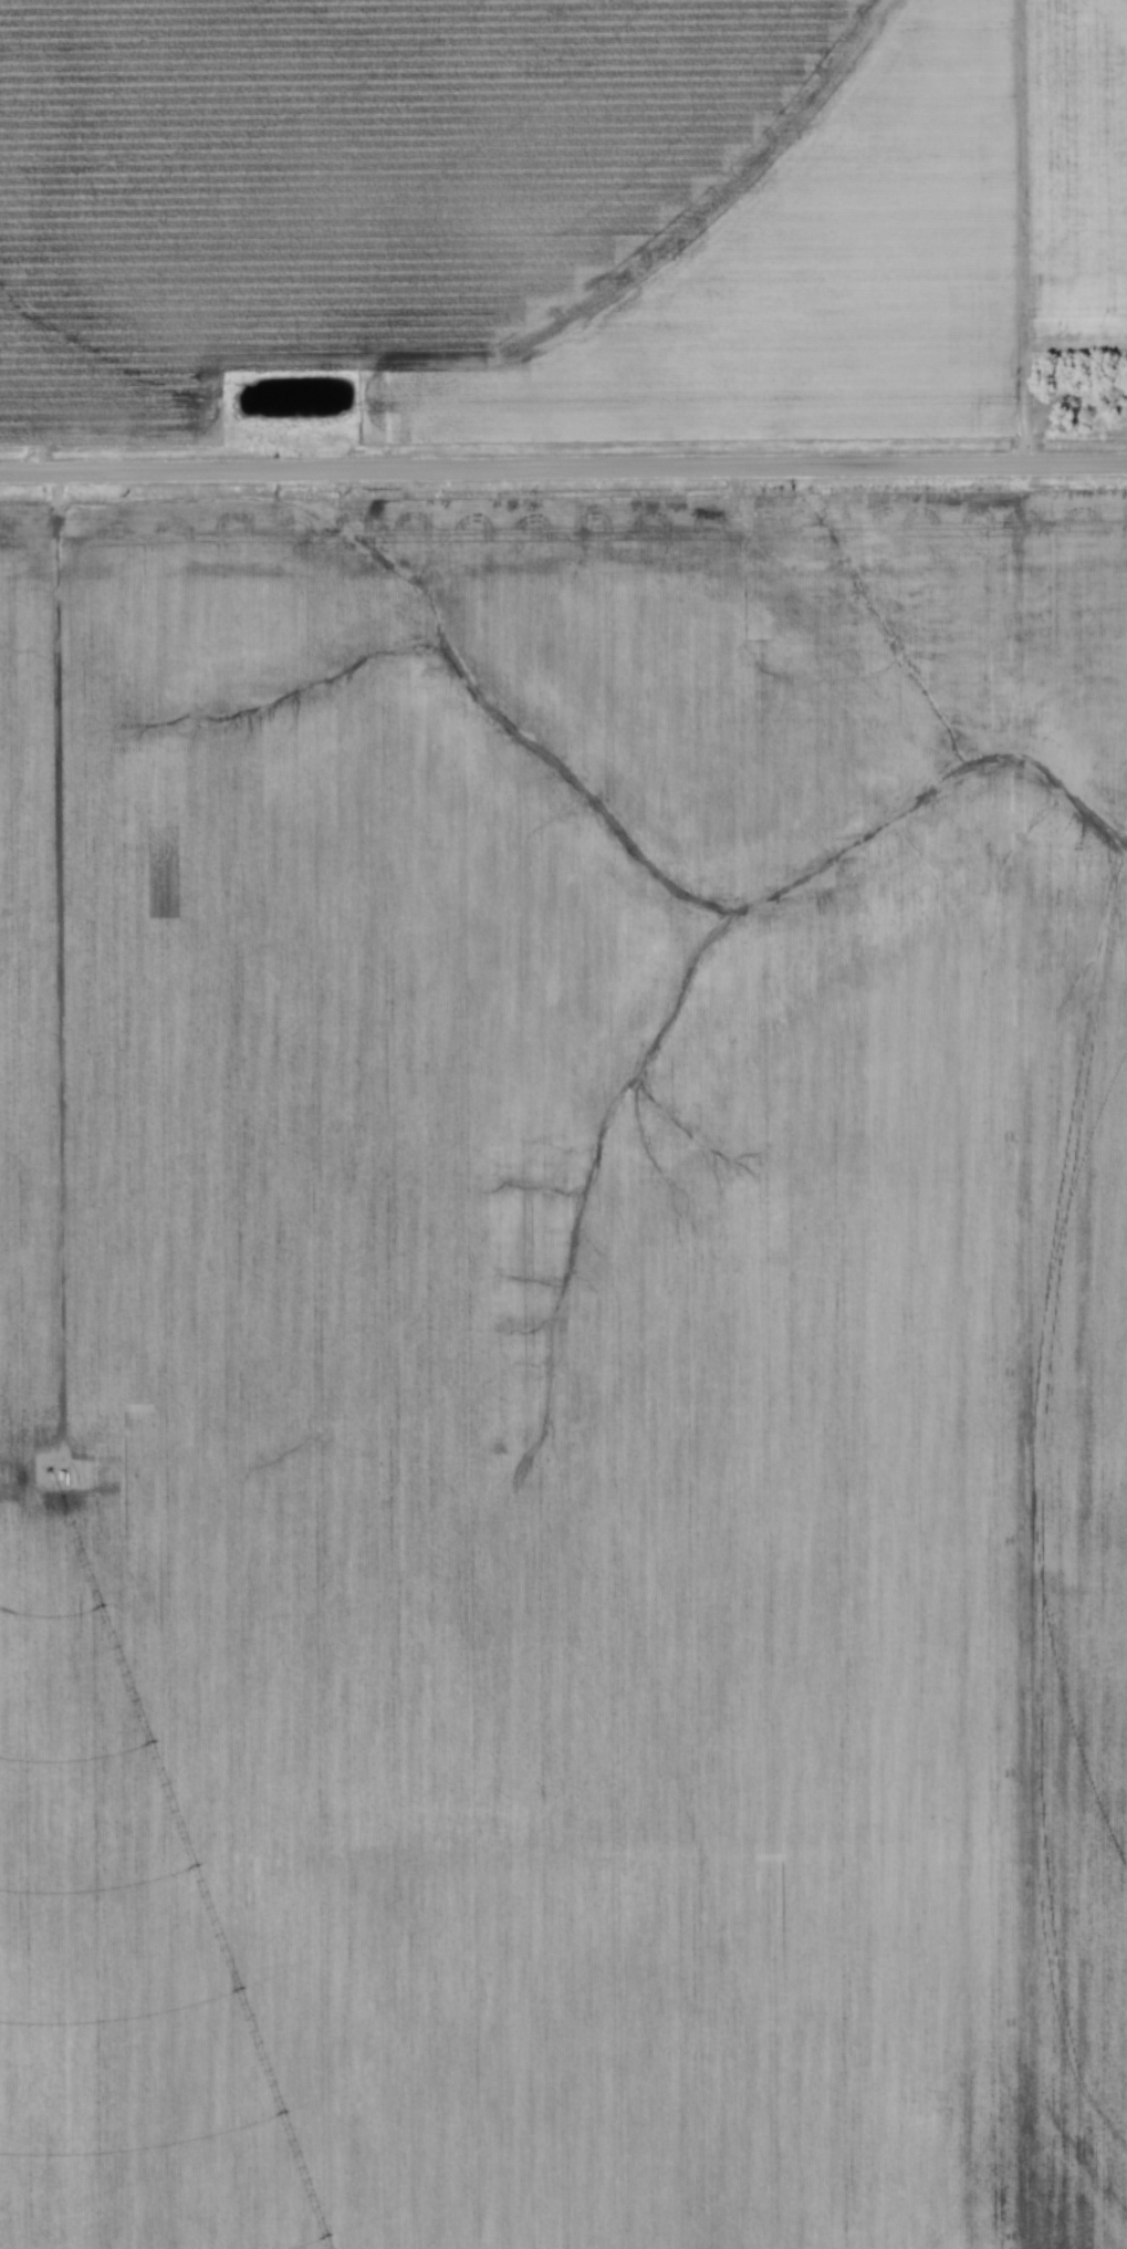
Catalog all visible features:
road: (563, 477)

